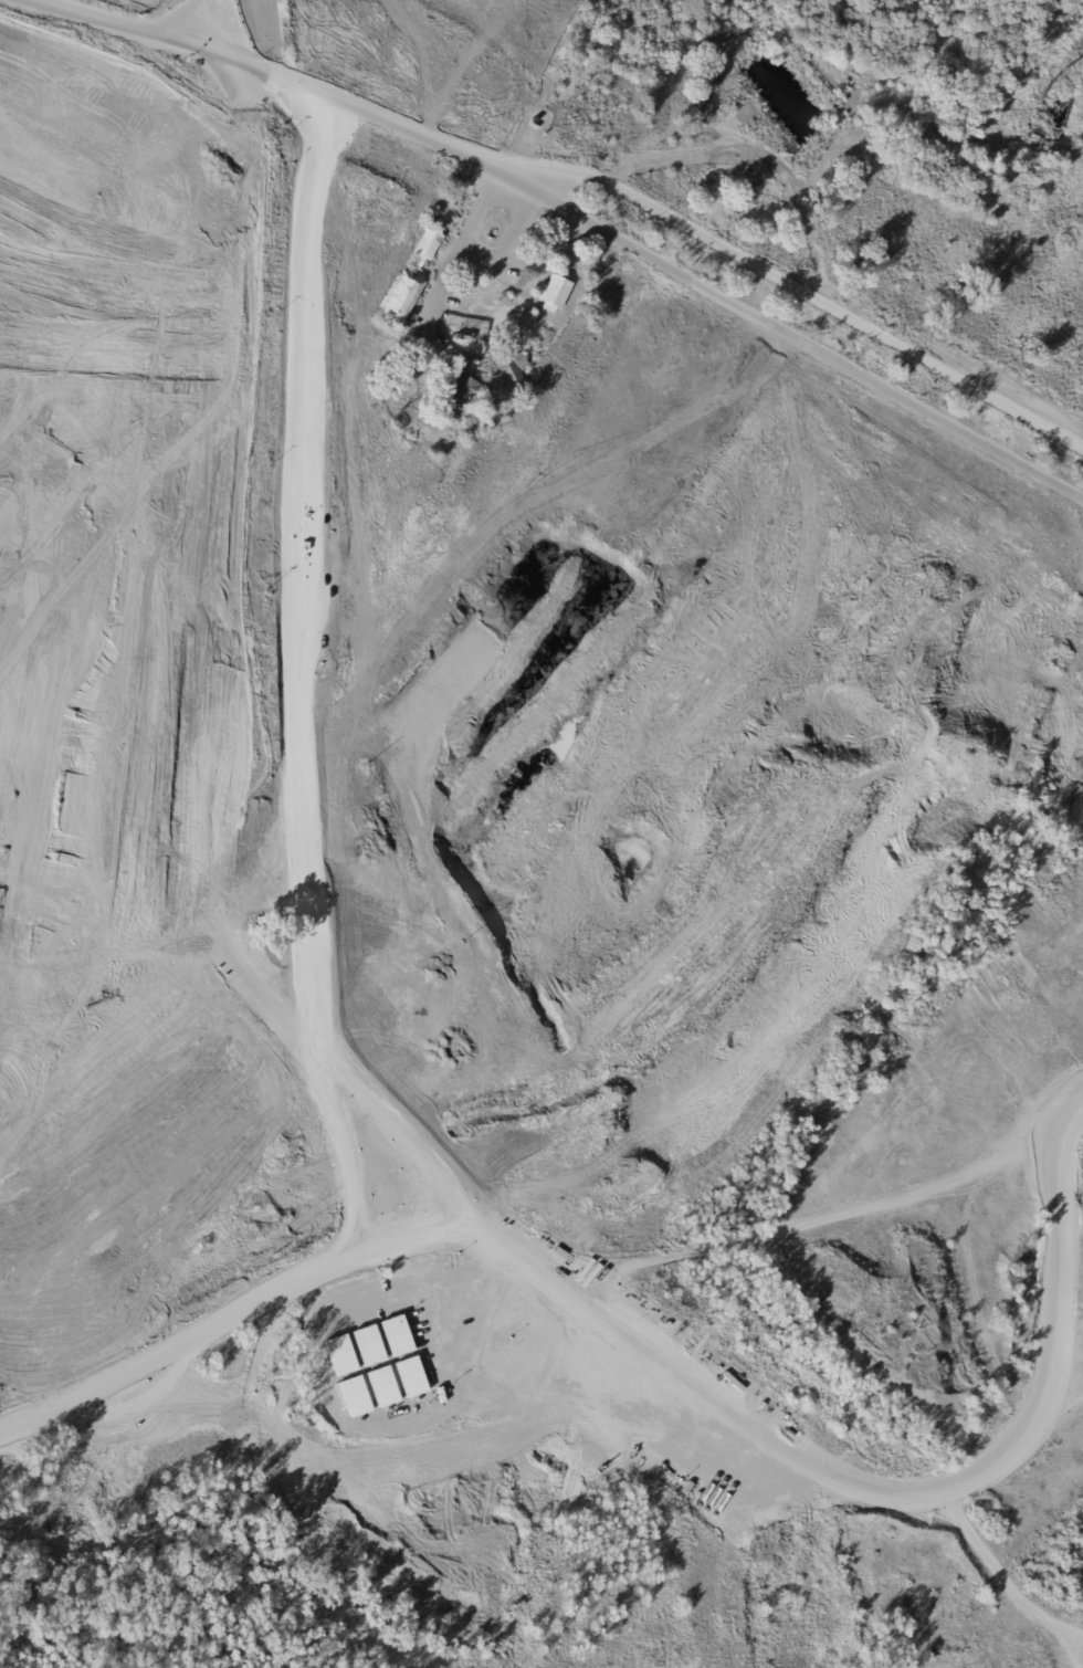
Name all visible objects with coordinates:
road: (246, 38)
road: (156, 111)
building: (546, 132)
road: (162, 143)
road: (62, 151)
road: (23, 156)
road: (76, 178)
road: (182, 201)
building: (450, 212)
building: (429, 251)
road: (481, 251)
road: (790, 276)
road: (700, 291)
building: (557, 294)
building: (402, 302)
building: (494, 318)
building: (515, 373)
building: (462, 398)
road: (123, 444)
road: (22, 714)
road: (67, 714)
road: (101, 715)
road: (119, 715)
road: (181, 756)
road: (208, 759)
road: (139, 781)
road: (236, 788)
road: (115, 987)
road: (771, 1434)
road: (1008, 1584)

